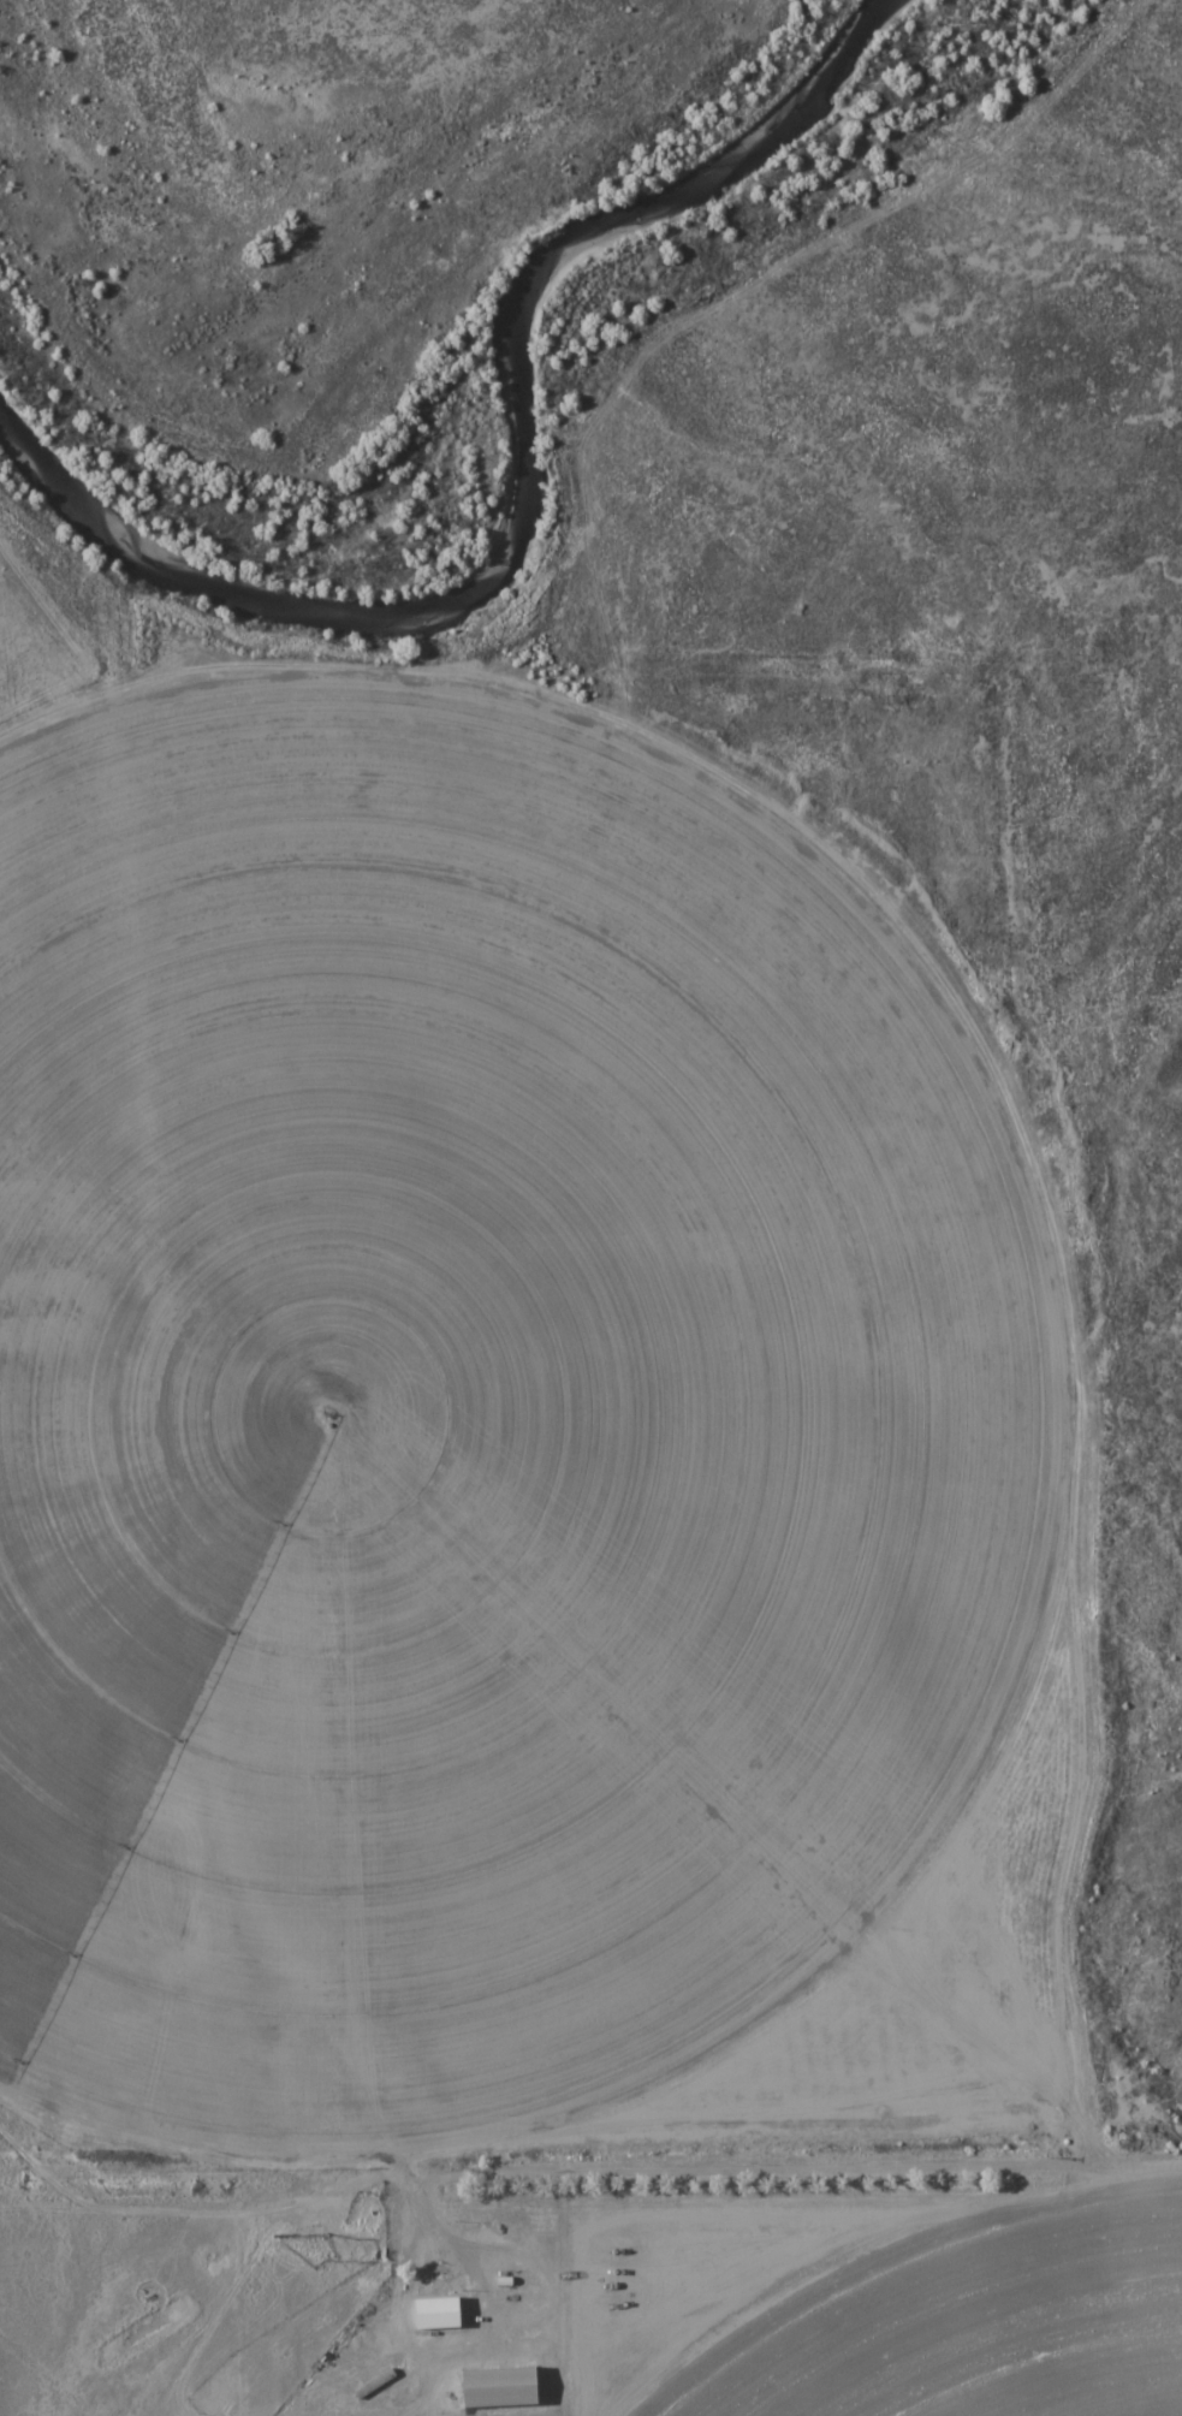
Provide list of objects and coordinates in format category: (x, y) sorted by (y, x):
river: (522, 486)
building: (427, 2292)
building: (501, 2386)

